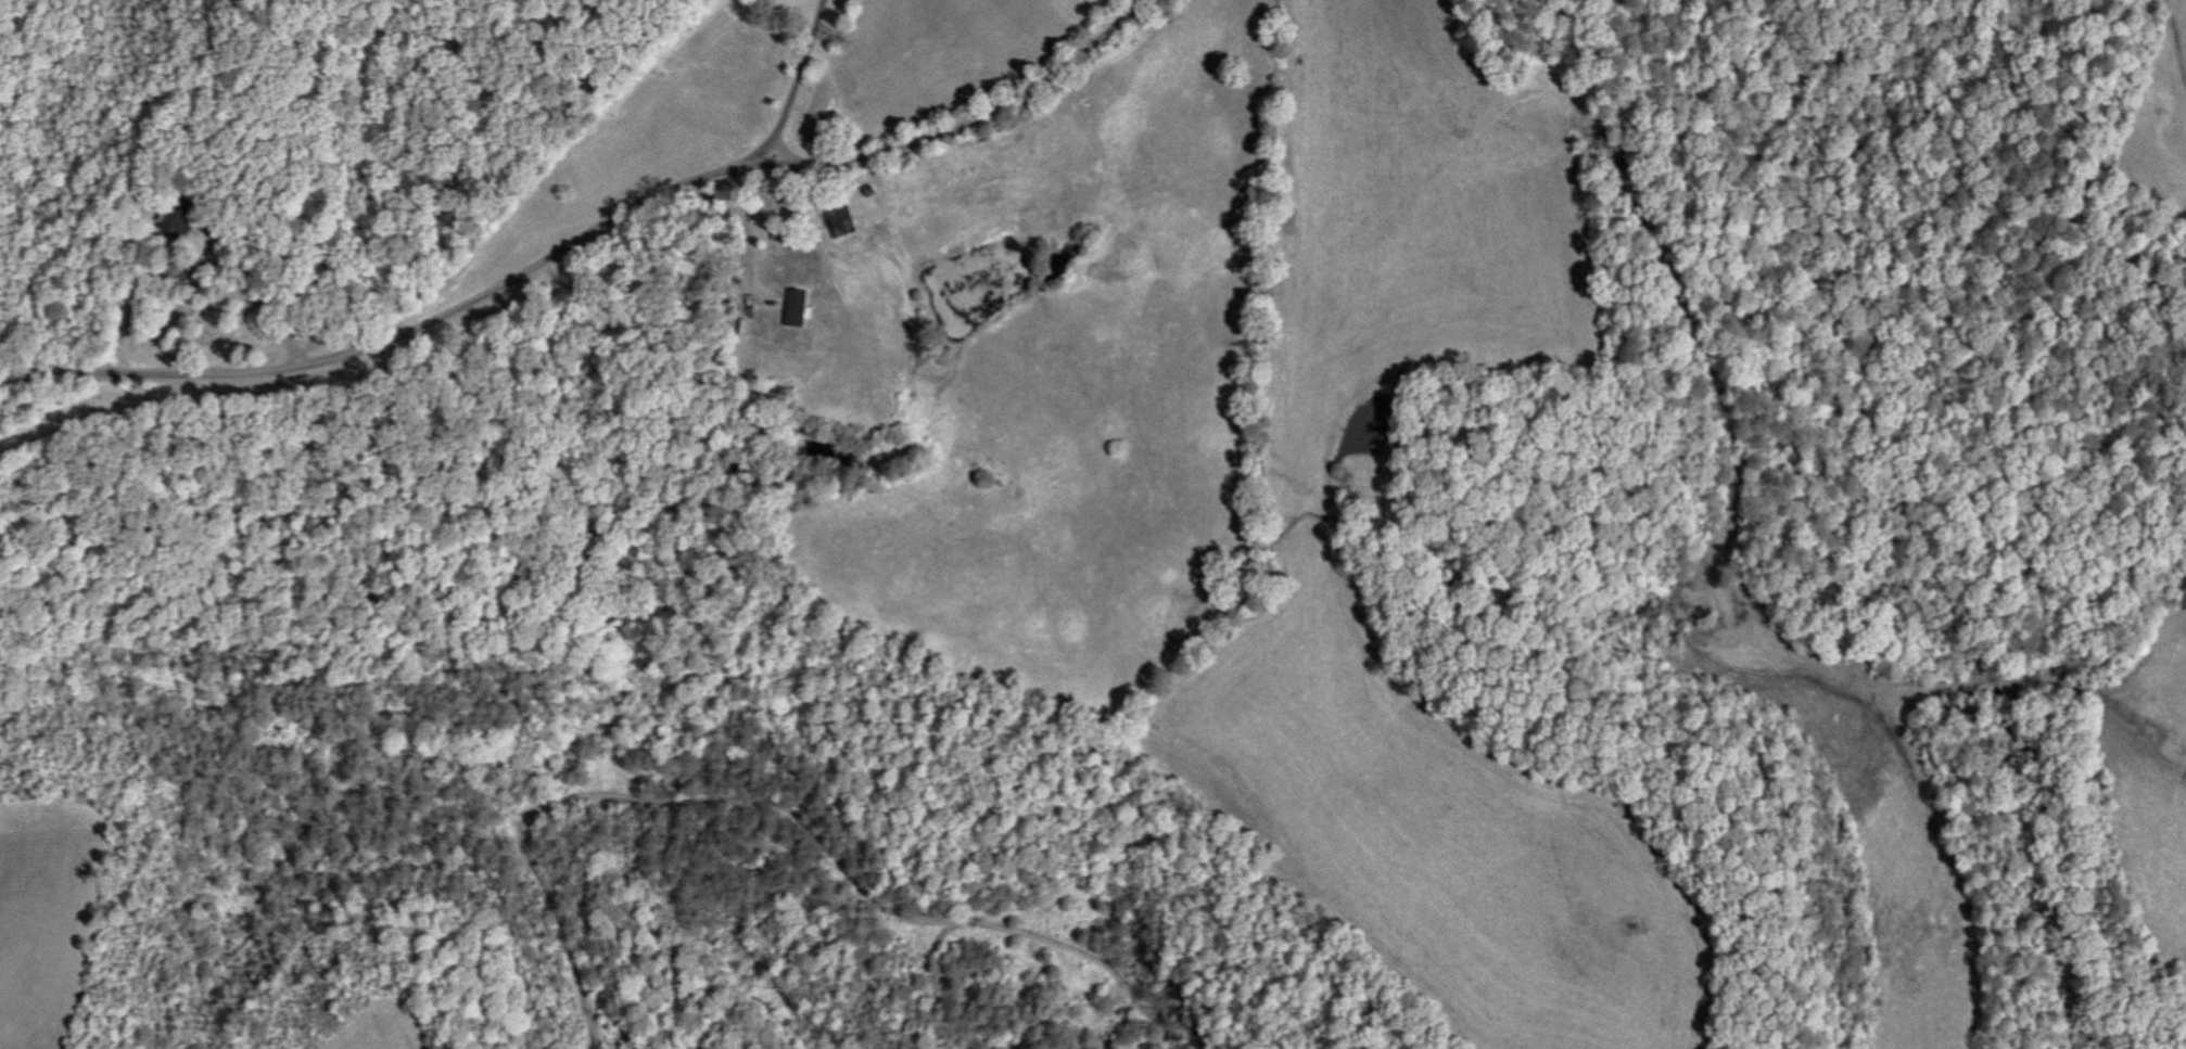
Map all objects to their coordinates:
road: (1106, 25)
road: (793, 95)
building: (183, 222)
building: (850, 228)
road: (554, 256)
building: (802, 310)

